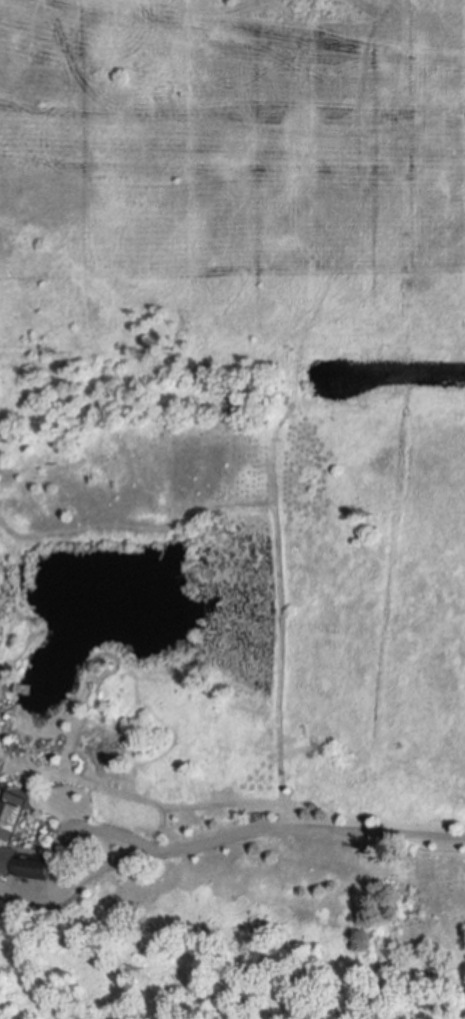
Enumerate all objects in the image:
building: (9, 827)
road: (228, 830)

